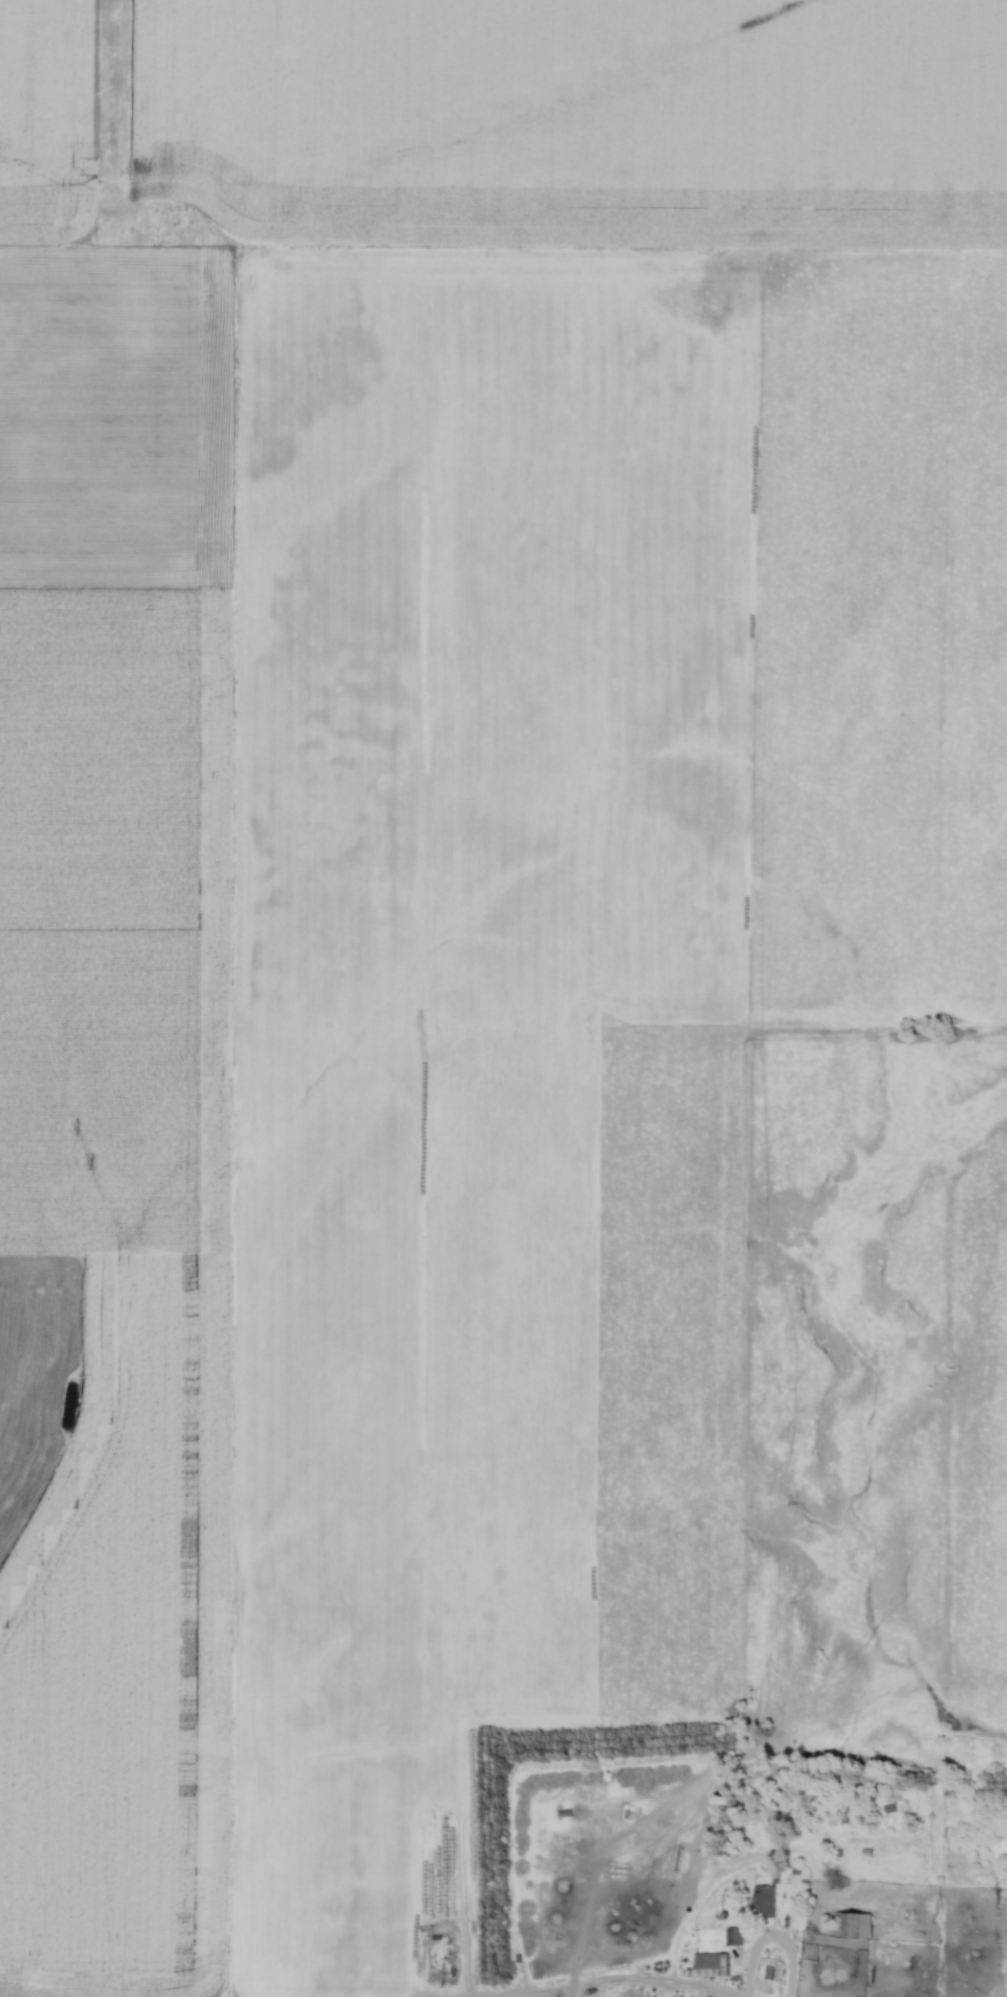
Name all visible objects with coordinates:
building: (820, 1810)
building: (765, 1902)
building: (849, 1926)
building: (735, 1937)
building: (710, 1965)

